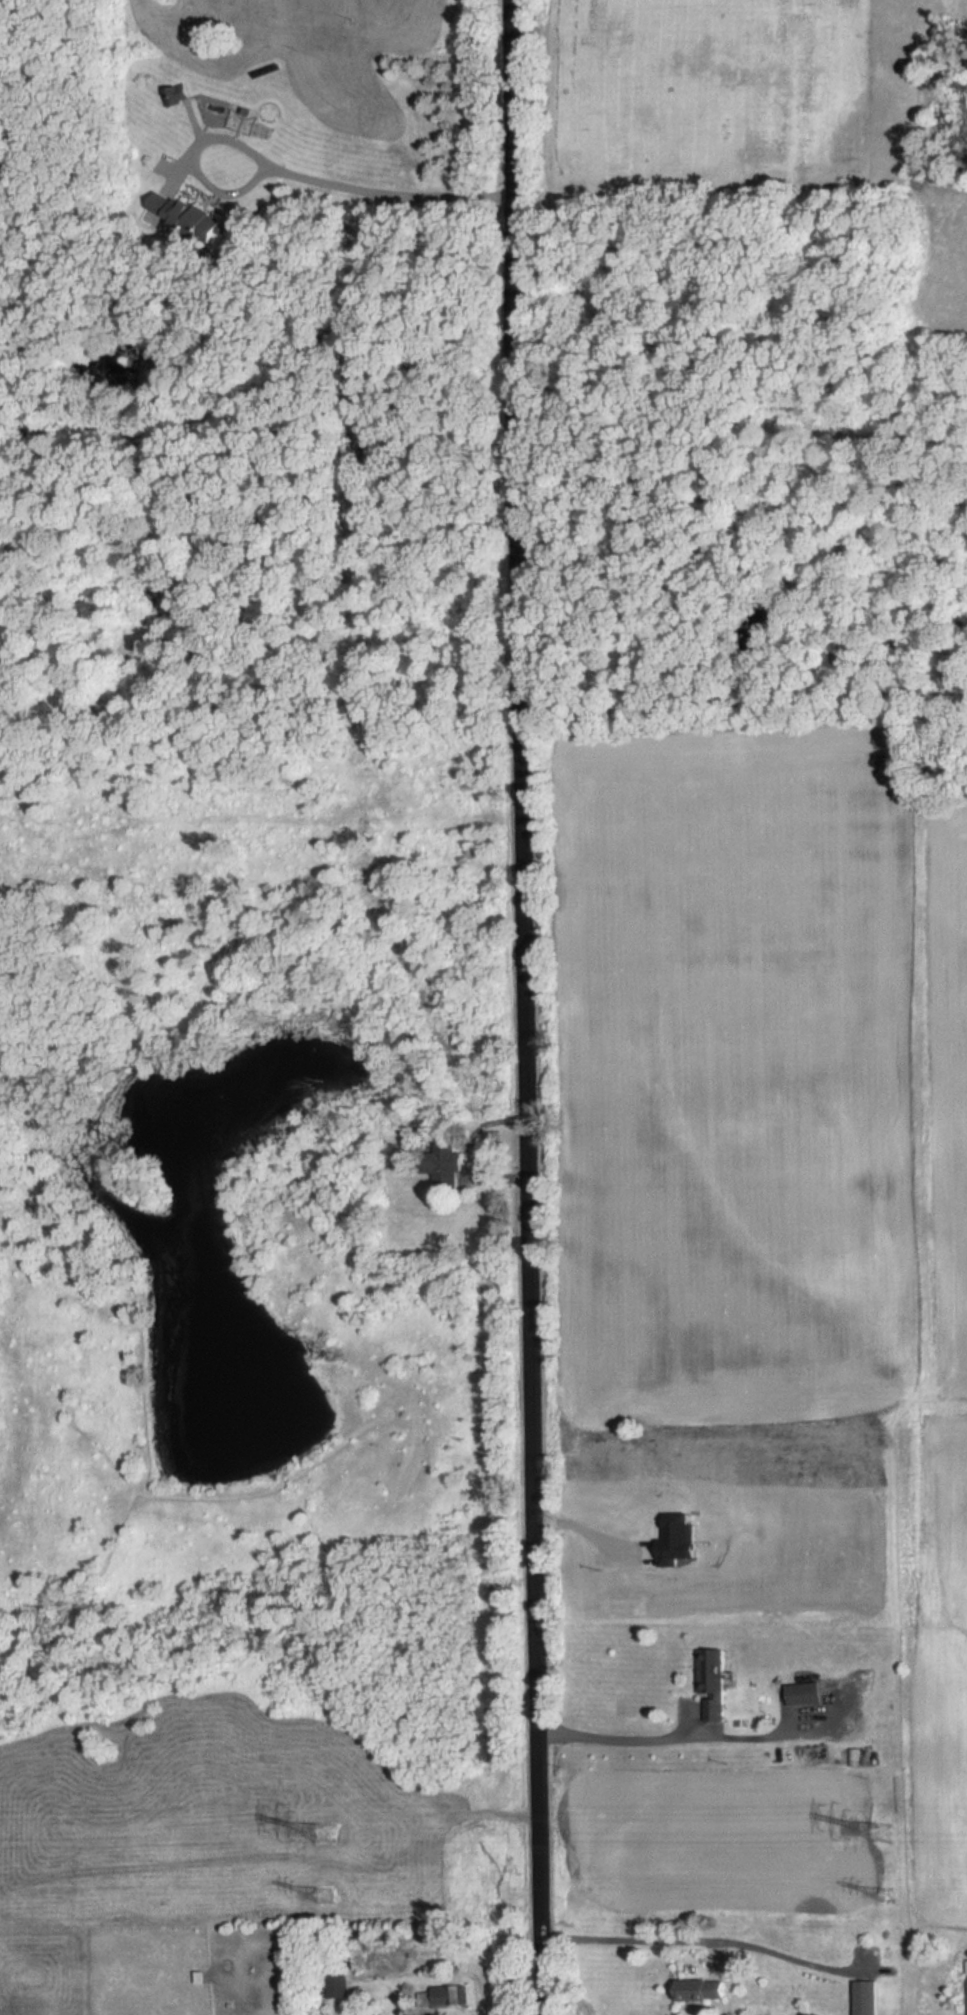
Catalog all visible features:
road: (292, 172)
road: (315, 553)
road: (530, 1007)
building: (444, 1165)
road: (589, 1527)
building: (713, 1686)
building: (805, 1694)
road: (671, 1740)
power tower: (873, 1834)
power tower: (316, 1836)
power tower: (327, 1898)
power tower: (891, 1902)
road: (697, 1940)
building: (337, 1984)
building: (965, 1987)
building: (700, 1990)
building: (443, 1997)
building: (866, 1997)

